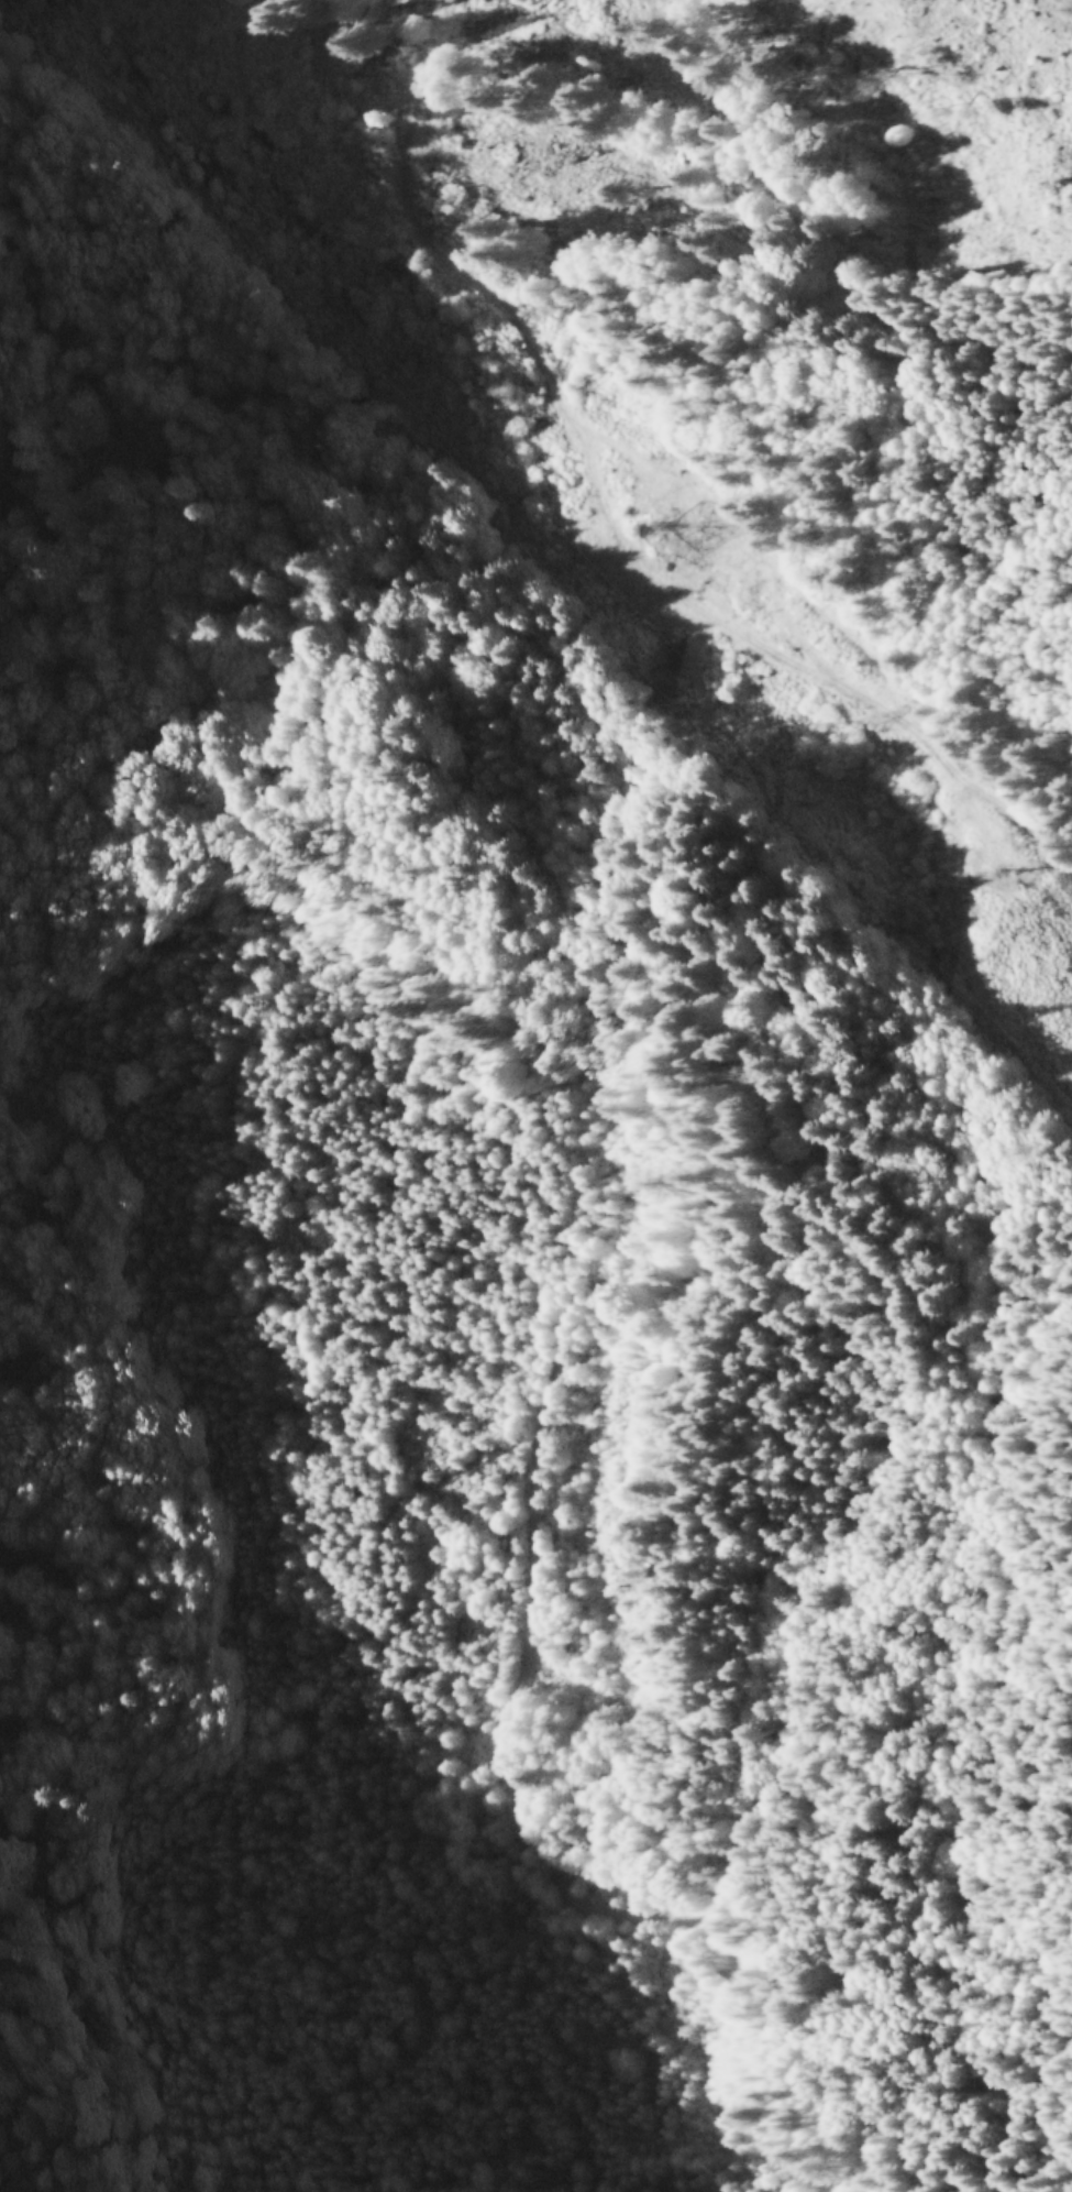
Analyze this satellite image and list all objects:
power tower: (698, 525)
power tower: (769, 743)
road: (870, 842)
power tower: (1031, 874)

